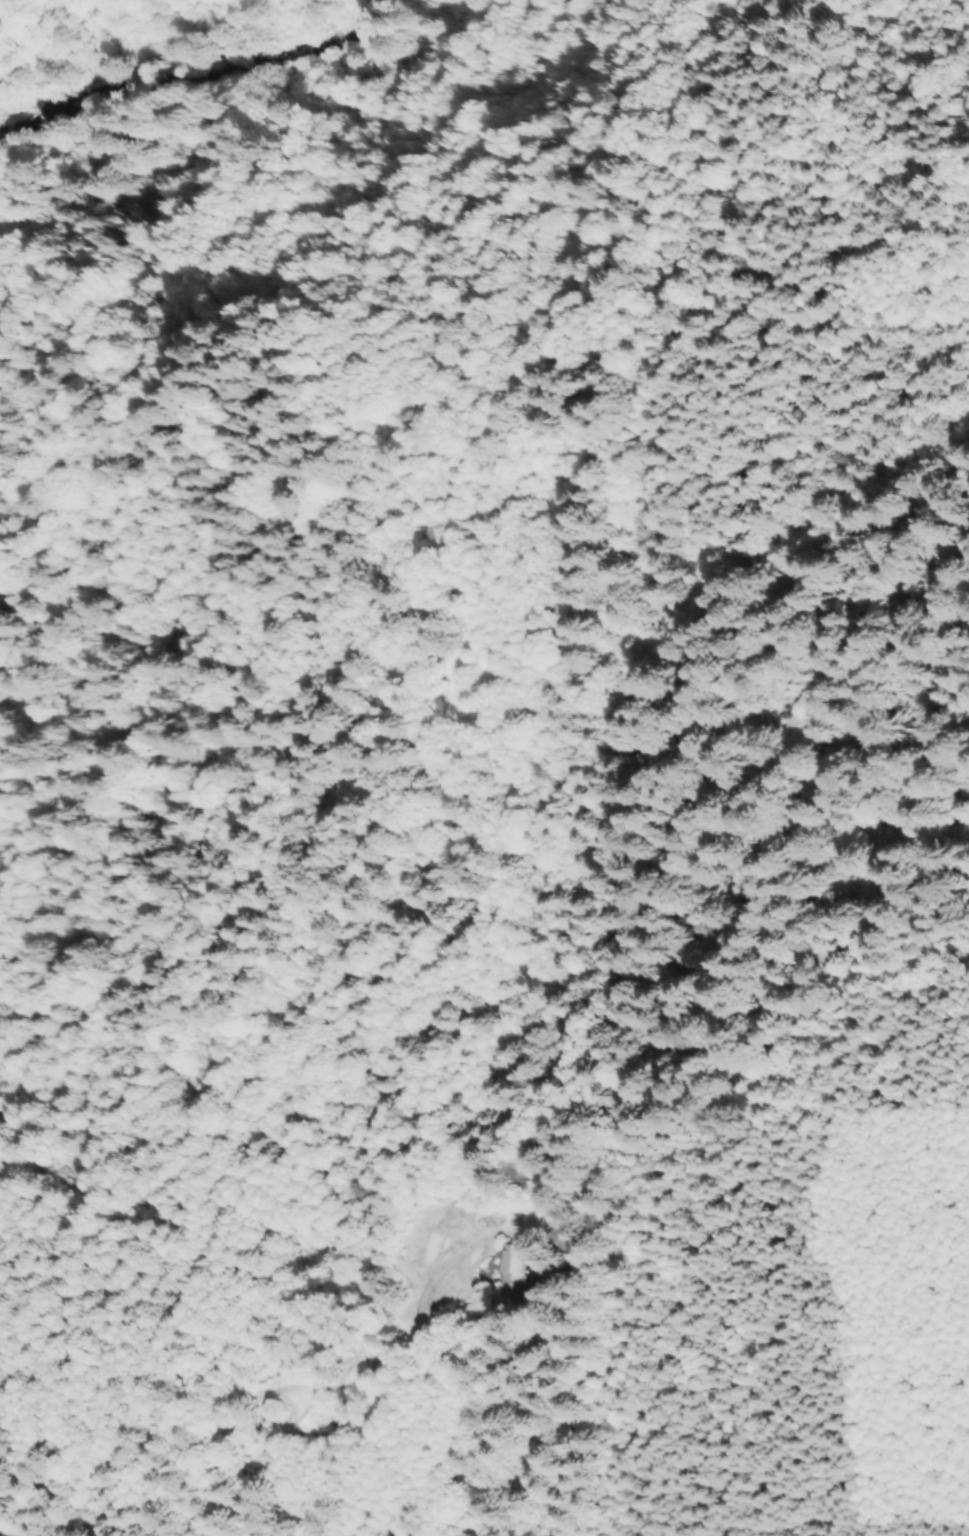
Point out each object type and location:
building: (563, 1236)
building: (514, 1274)
building: (251, 1433)

